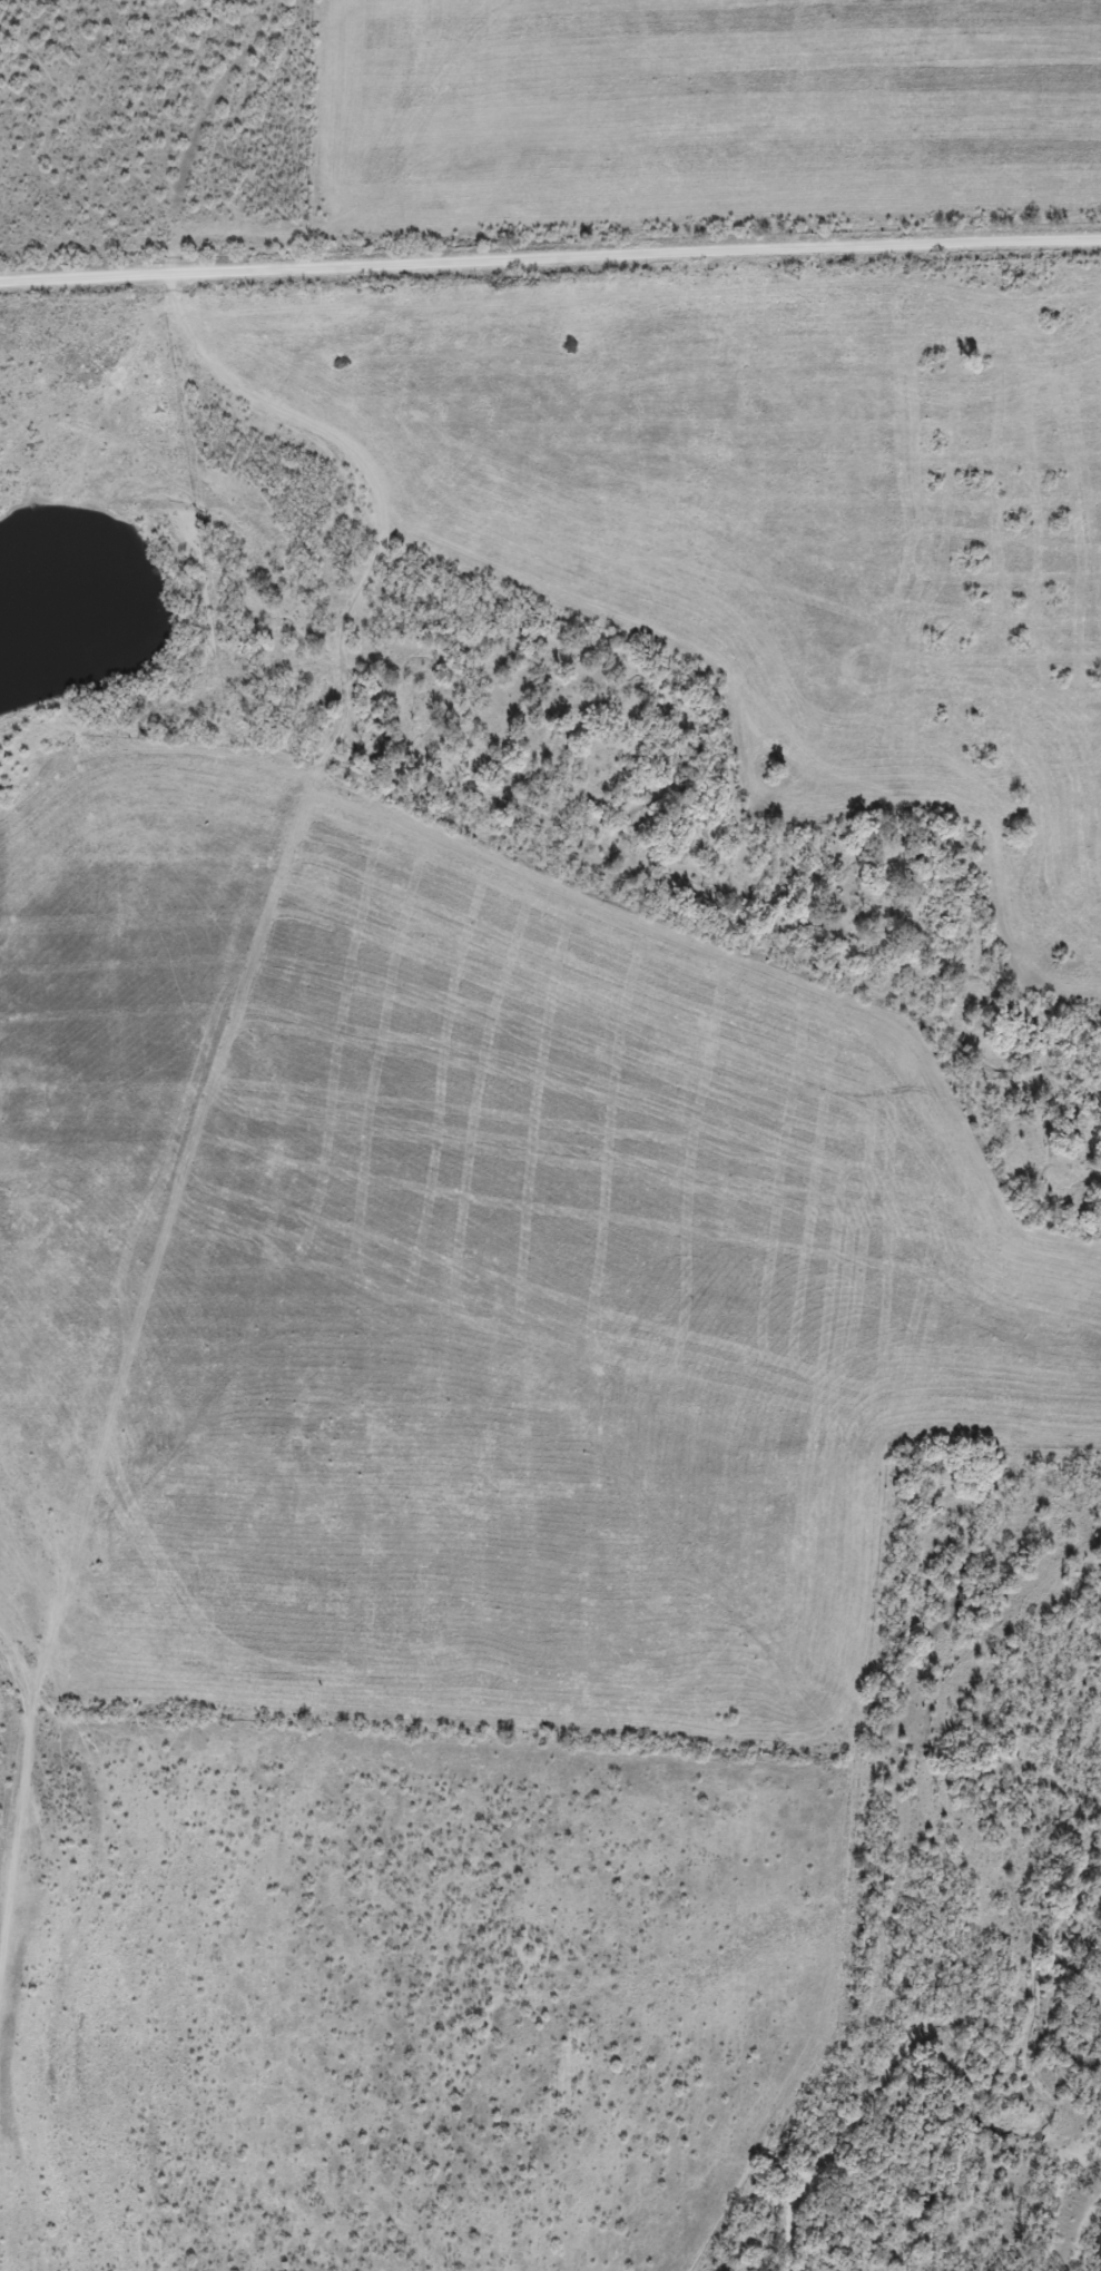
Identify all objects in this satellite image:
road: (550, 272)

